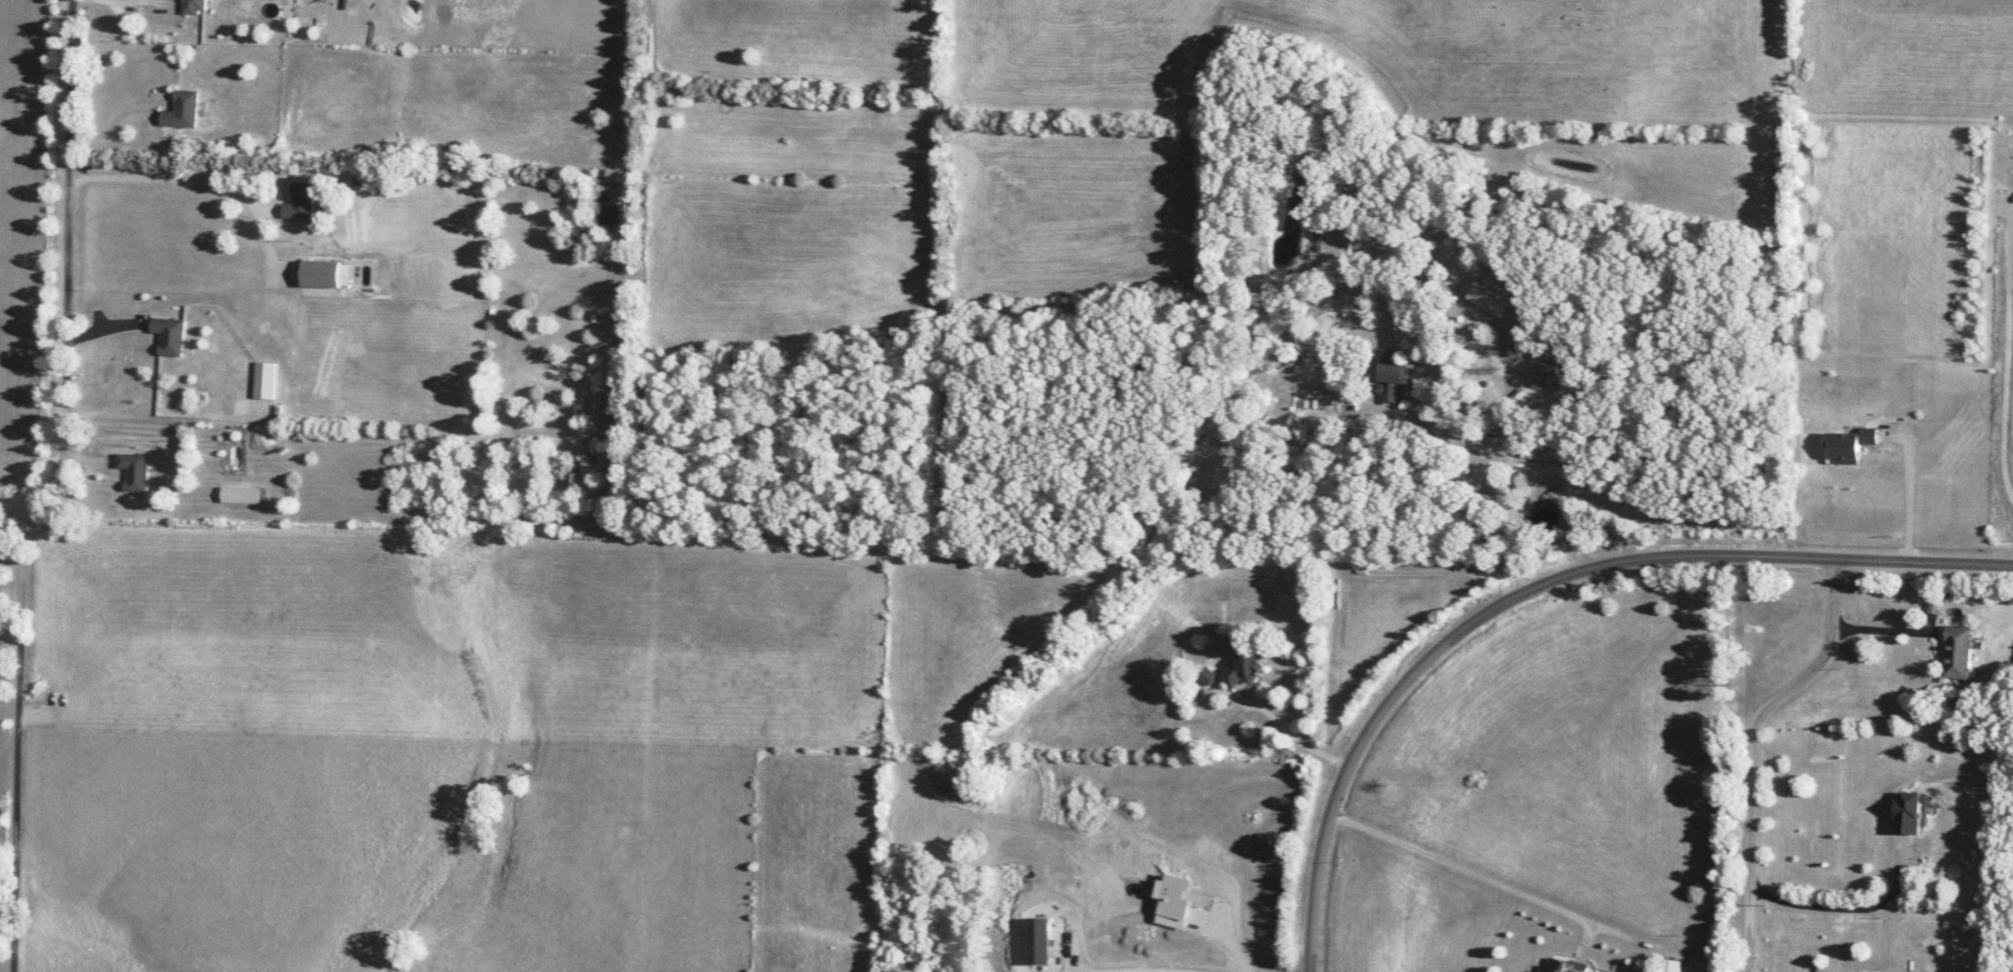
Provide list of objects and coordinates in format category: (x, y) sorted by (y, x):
building: (198, 5)
road: (132, 6)
building: (185, 109)
road: (189, 184)
building: (302, 201)
building: (325, 273)
building: (1349, 307)
building: (170, 335)
road: (2007, 355)
building: (266, 380)
building: (1390, 382)
road: (1516, 396)
building: (1846, 445)
building: (136, 470)
road: (58, 488)
building: (244, 494)
road: (1907, 494)
road: (1542, 589)
road: (1897, 635)
building: (1957, 652)
building: (1241, 670)
road: (1292, 741)
road: (1752, 750)
building: (1907, 814)
road: (1462, 867)
road: (1853, 914)
building: (1560, 966)
building: (1669, 966)
road: (1130, 970)

